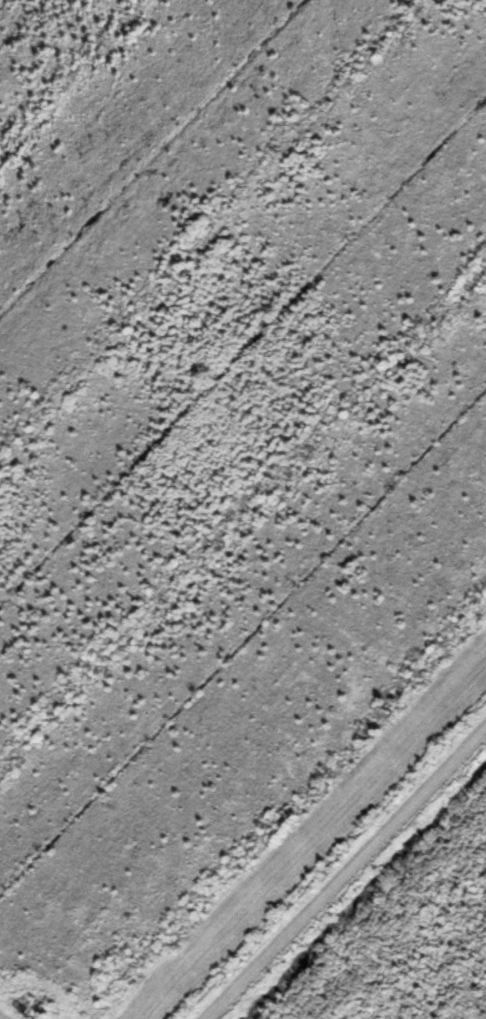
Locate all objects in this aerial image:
road: (347, 875)
road: (4, 1016)

